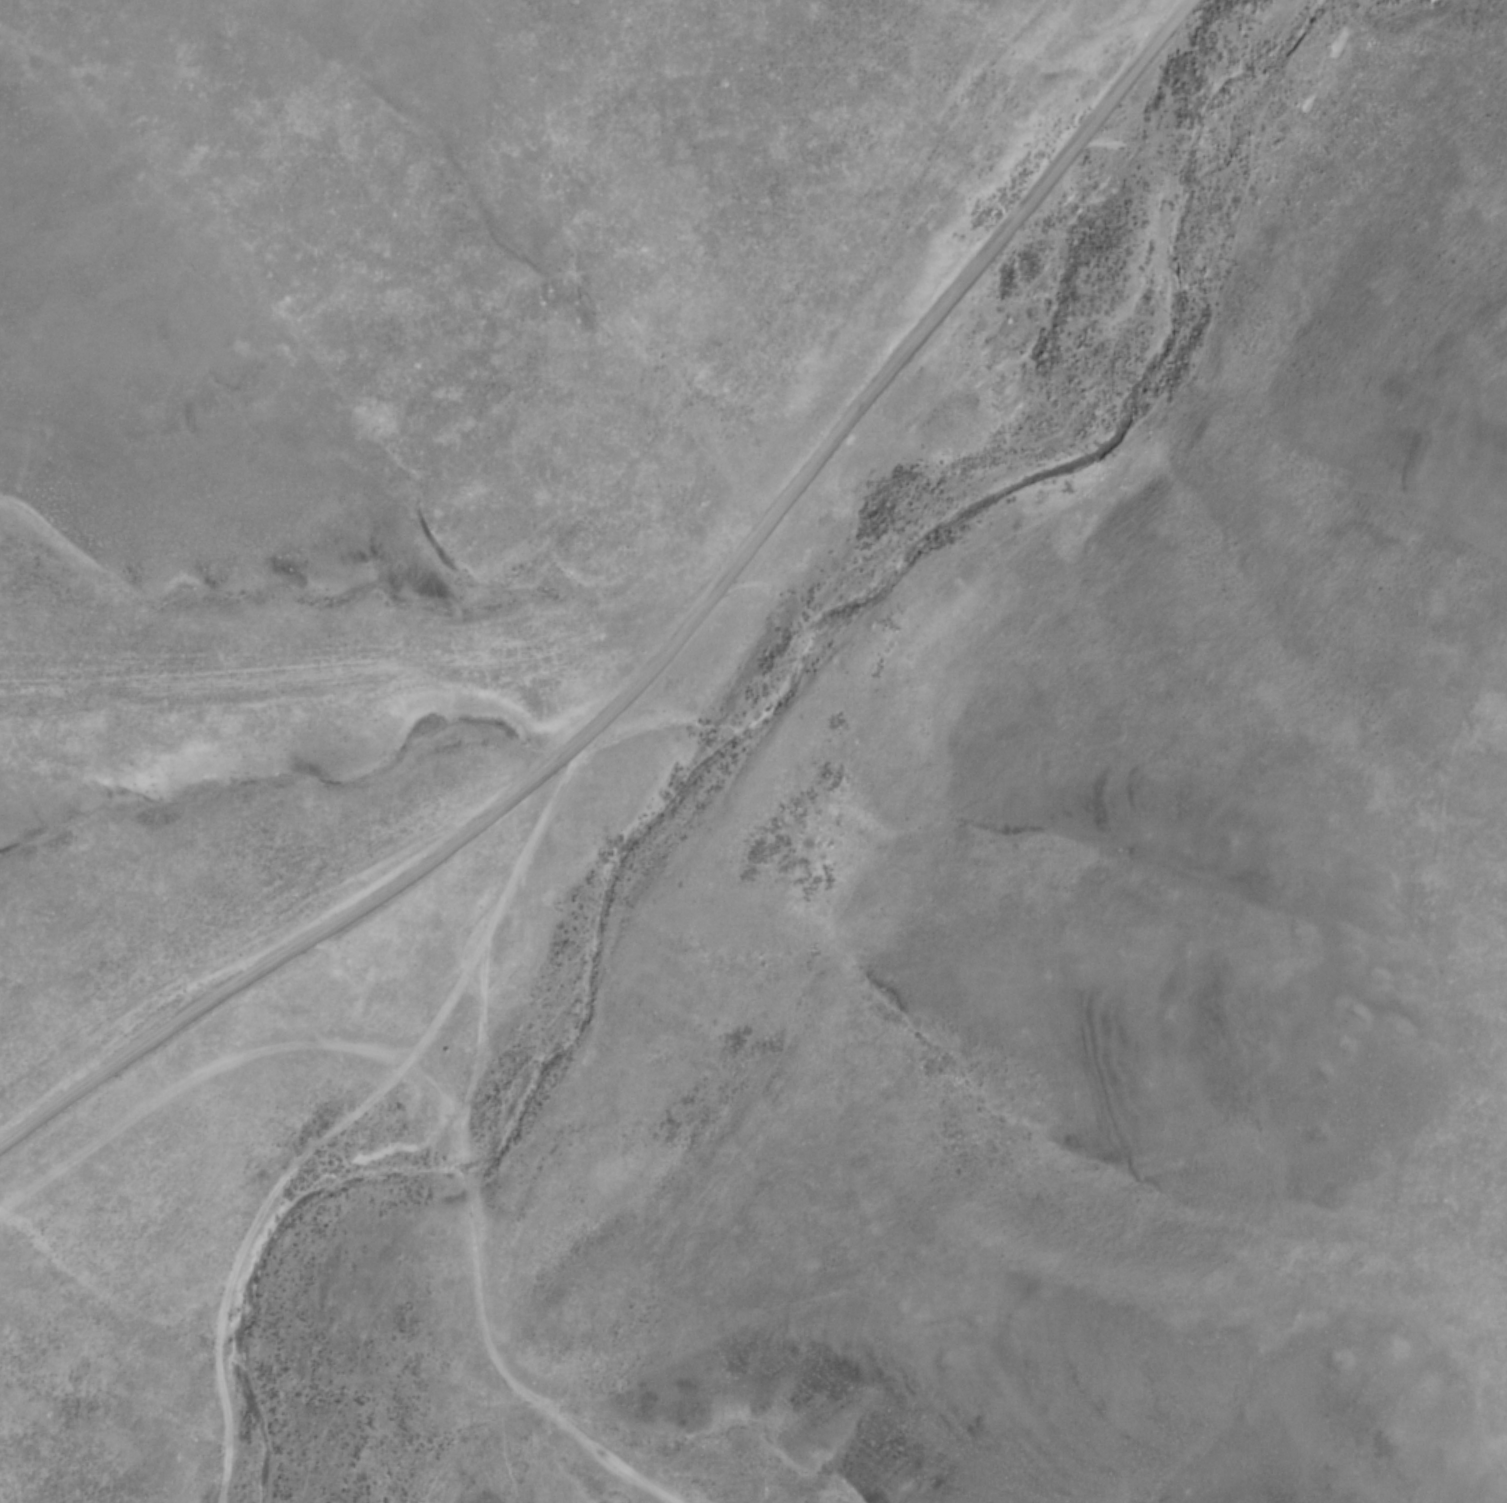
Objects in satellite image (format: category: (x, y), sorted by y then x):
road: (660, 651)
road: (325, 670)
road: (482, 1208)

